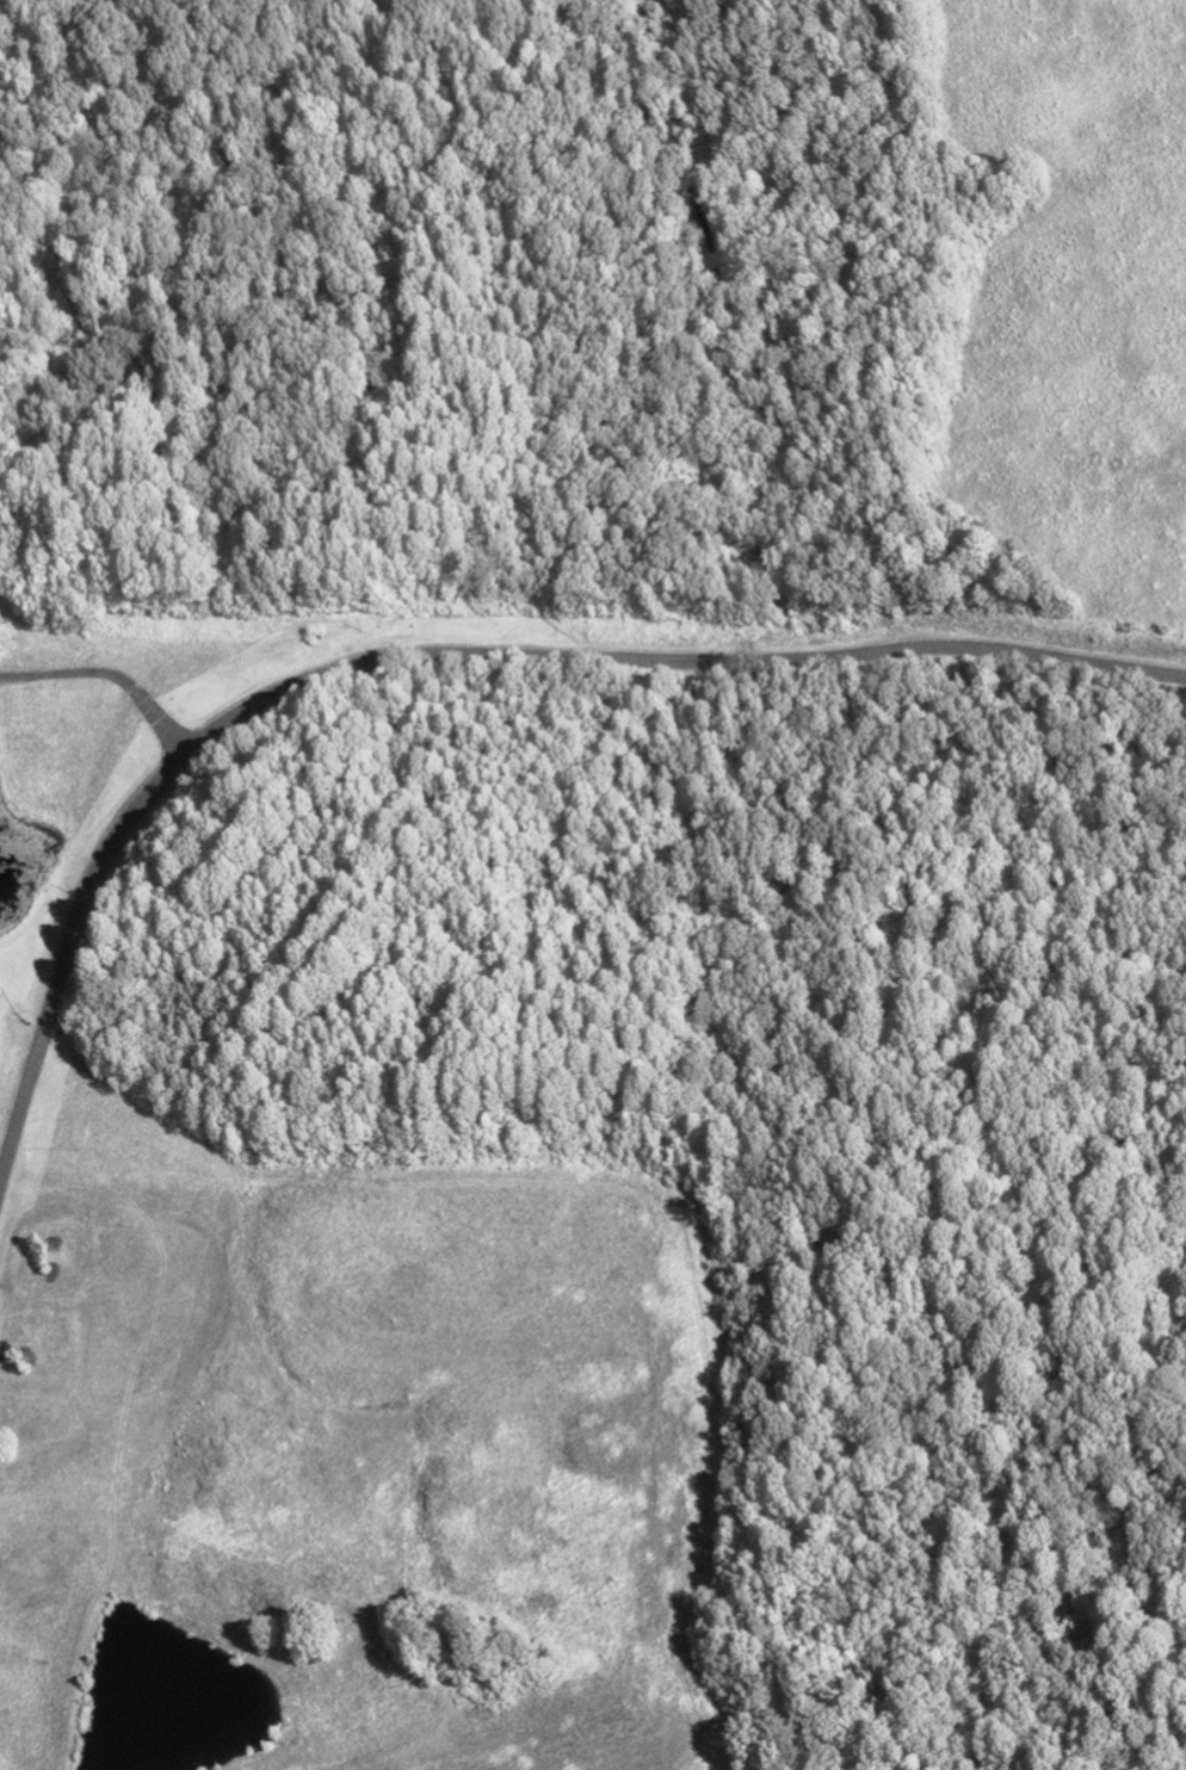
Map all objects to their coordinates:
road: (671, 662)
road: (107, 677)
road: (61, 946)

